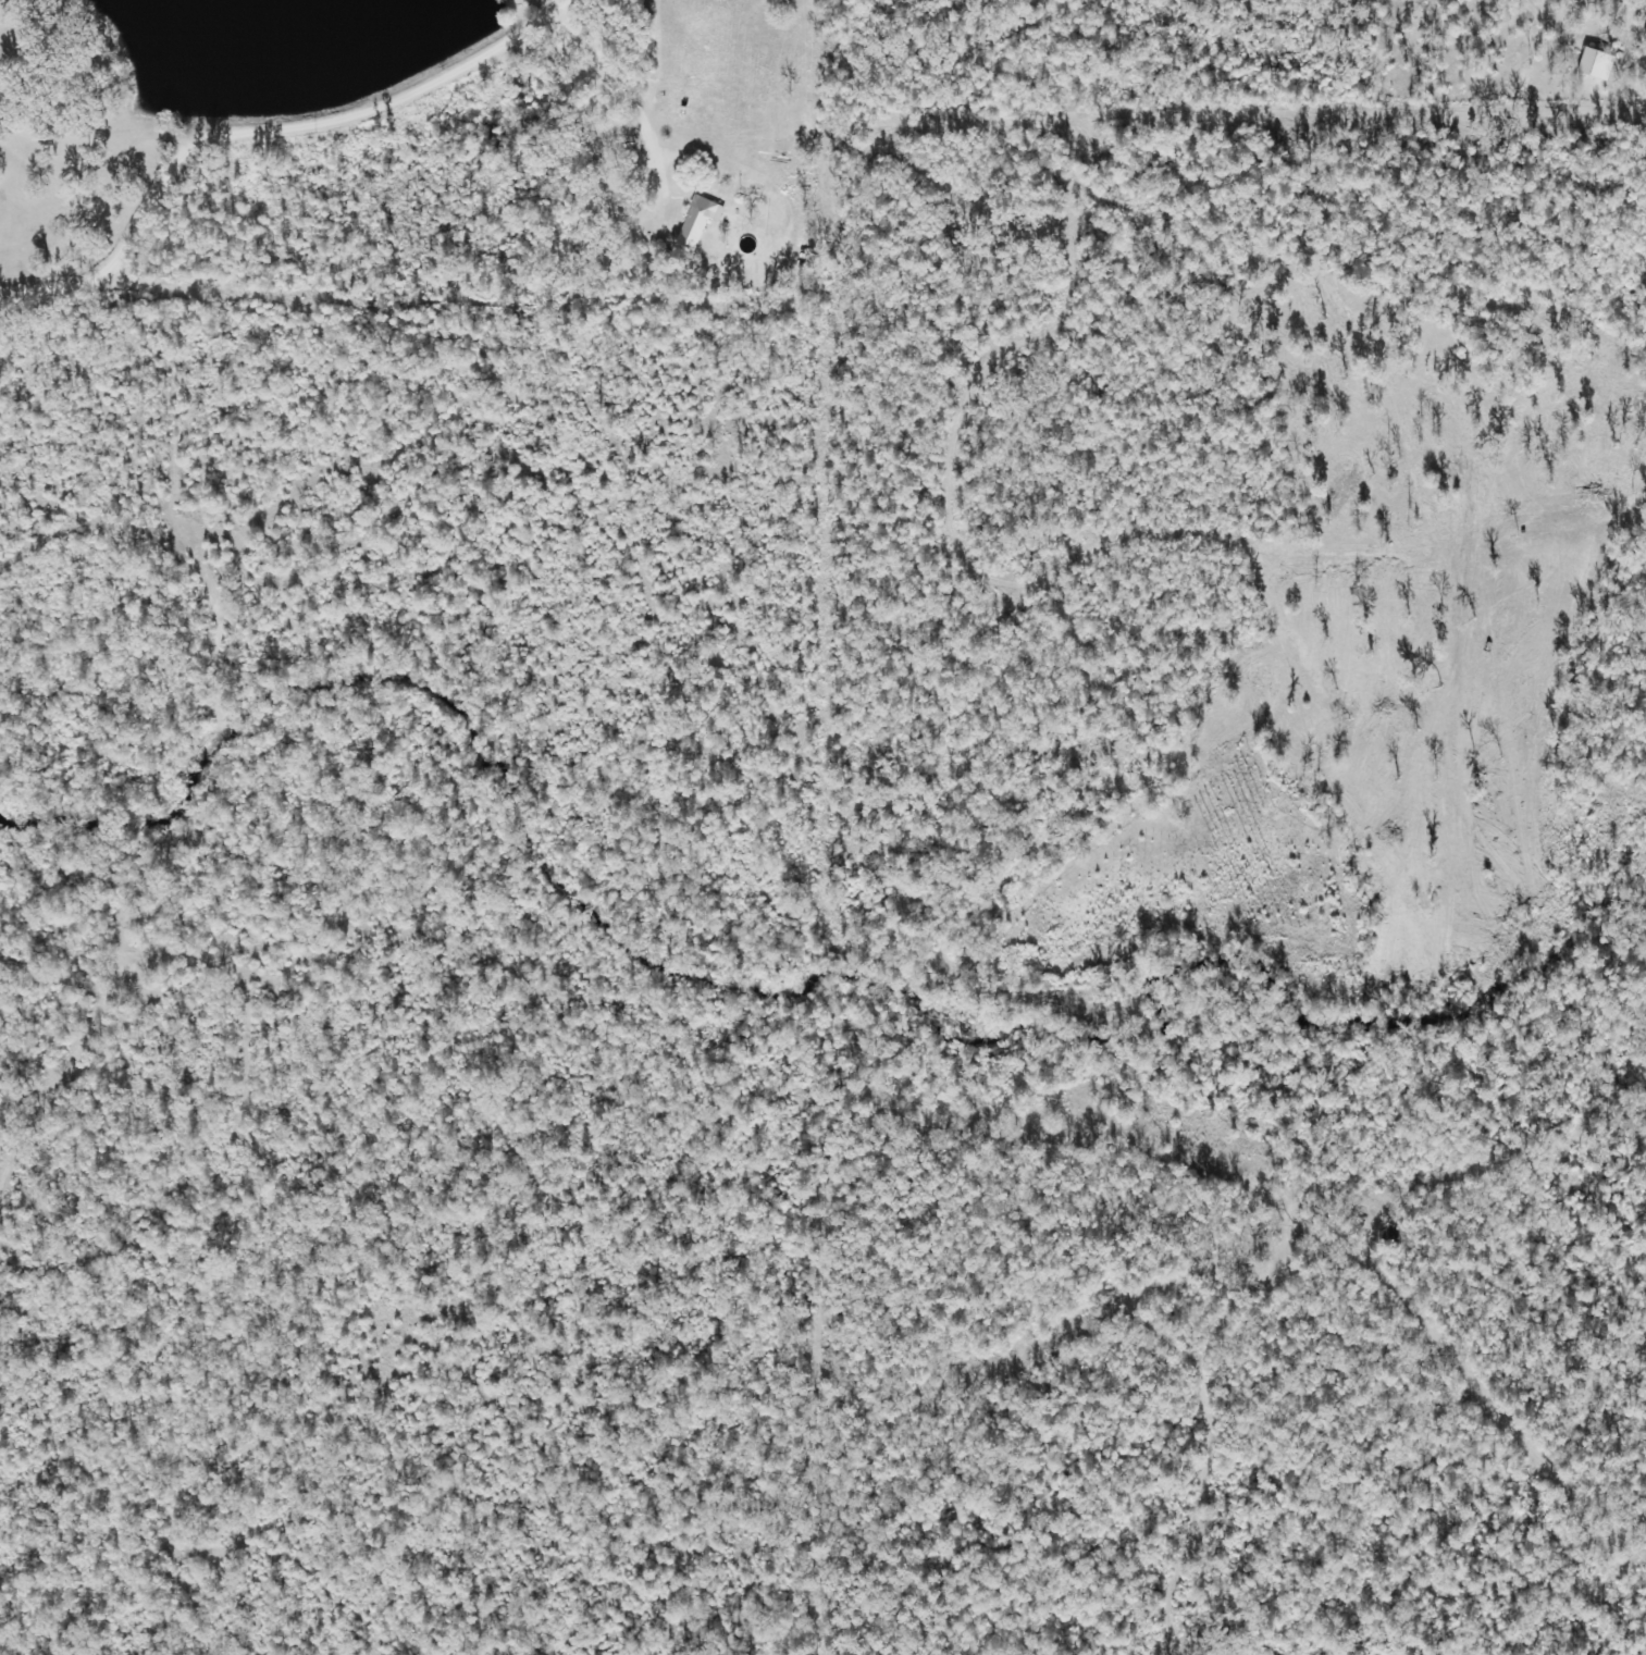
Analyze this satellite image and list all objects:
building: (1598, 64)
road: (264, 133)
building: (696, 223)

